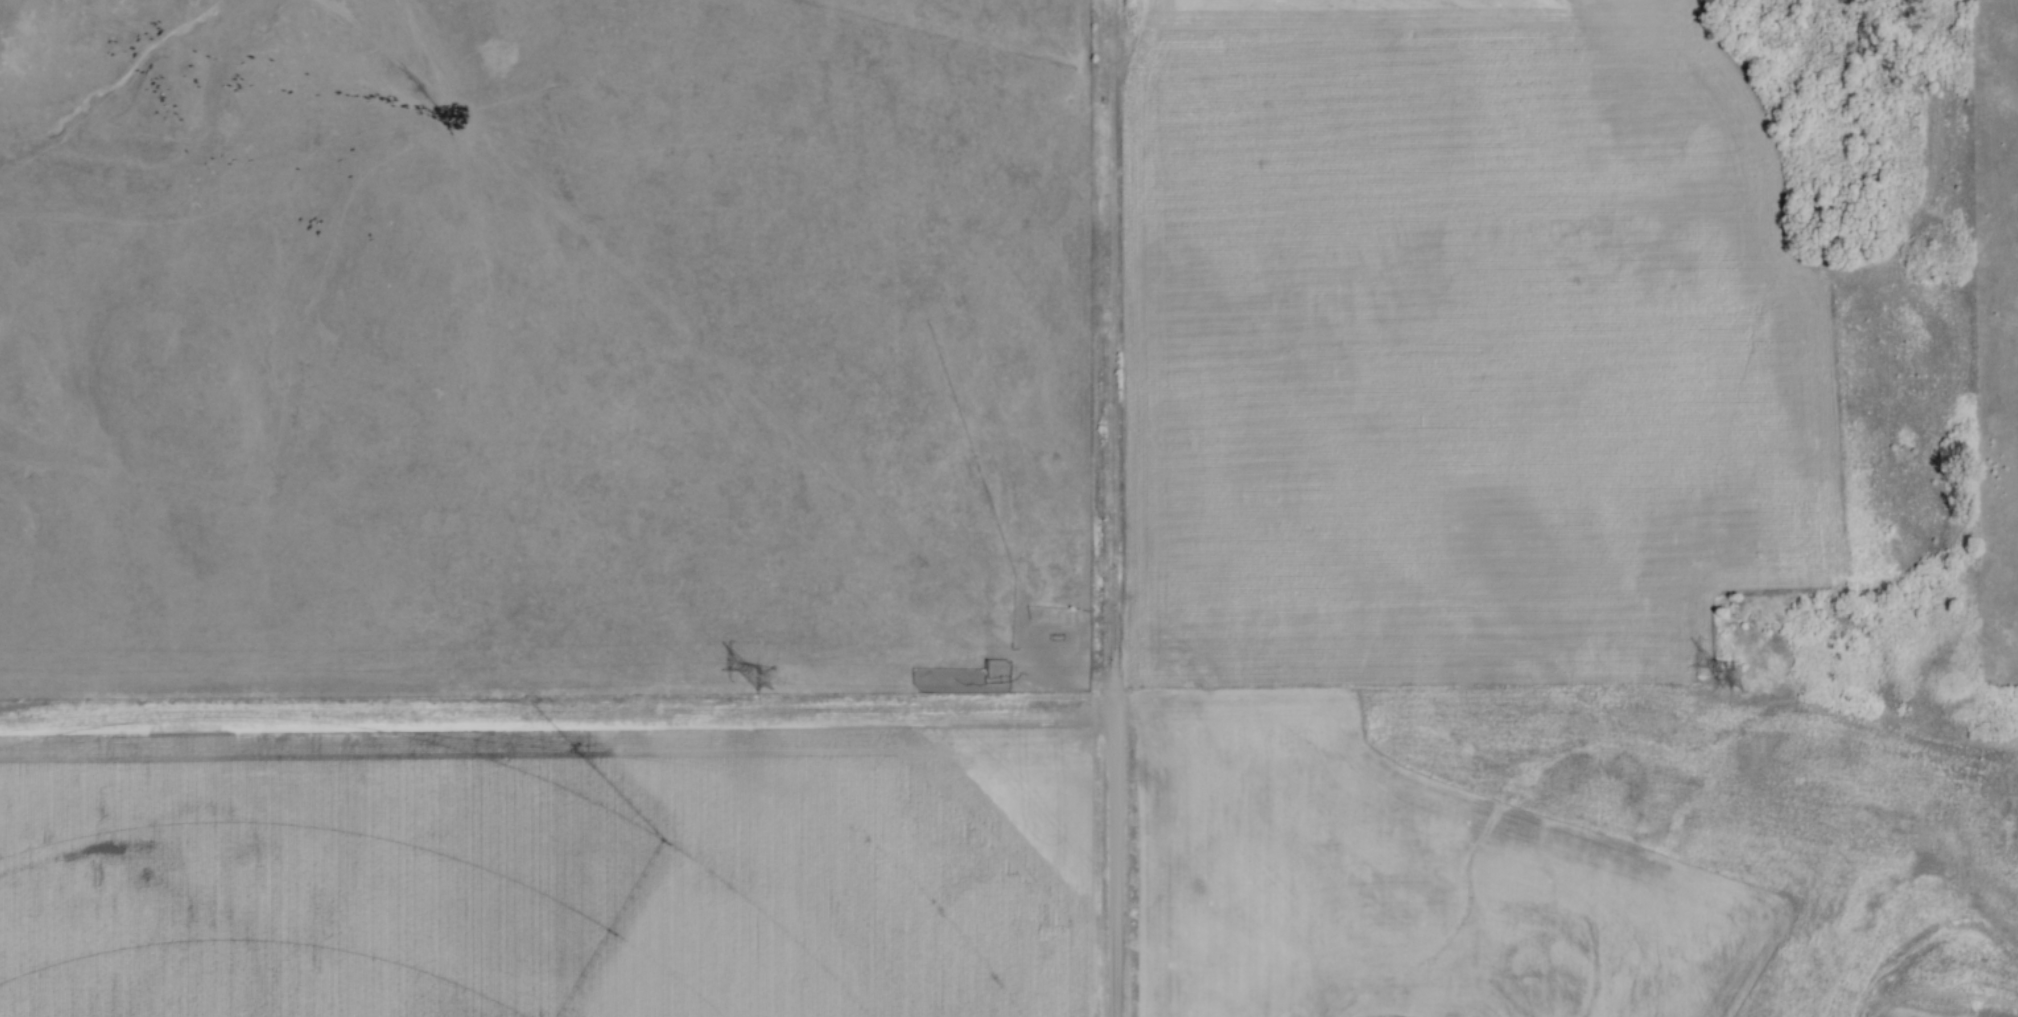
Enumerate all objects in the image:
power tower: (1737, 676)
power tower: (762, 680)

